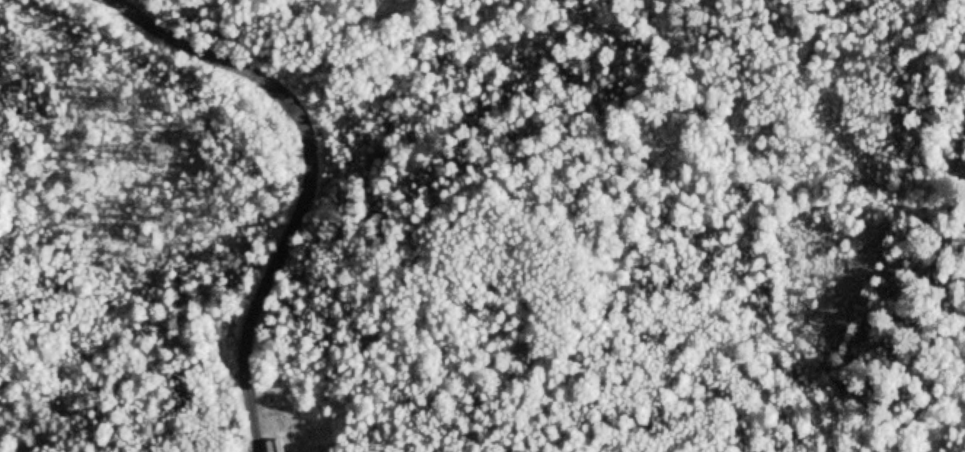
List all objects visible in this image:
road: (303, 173)

